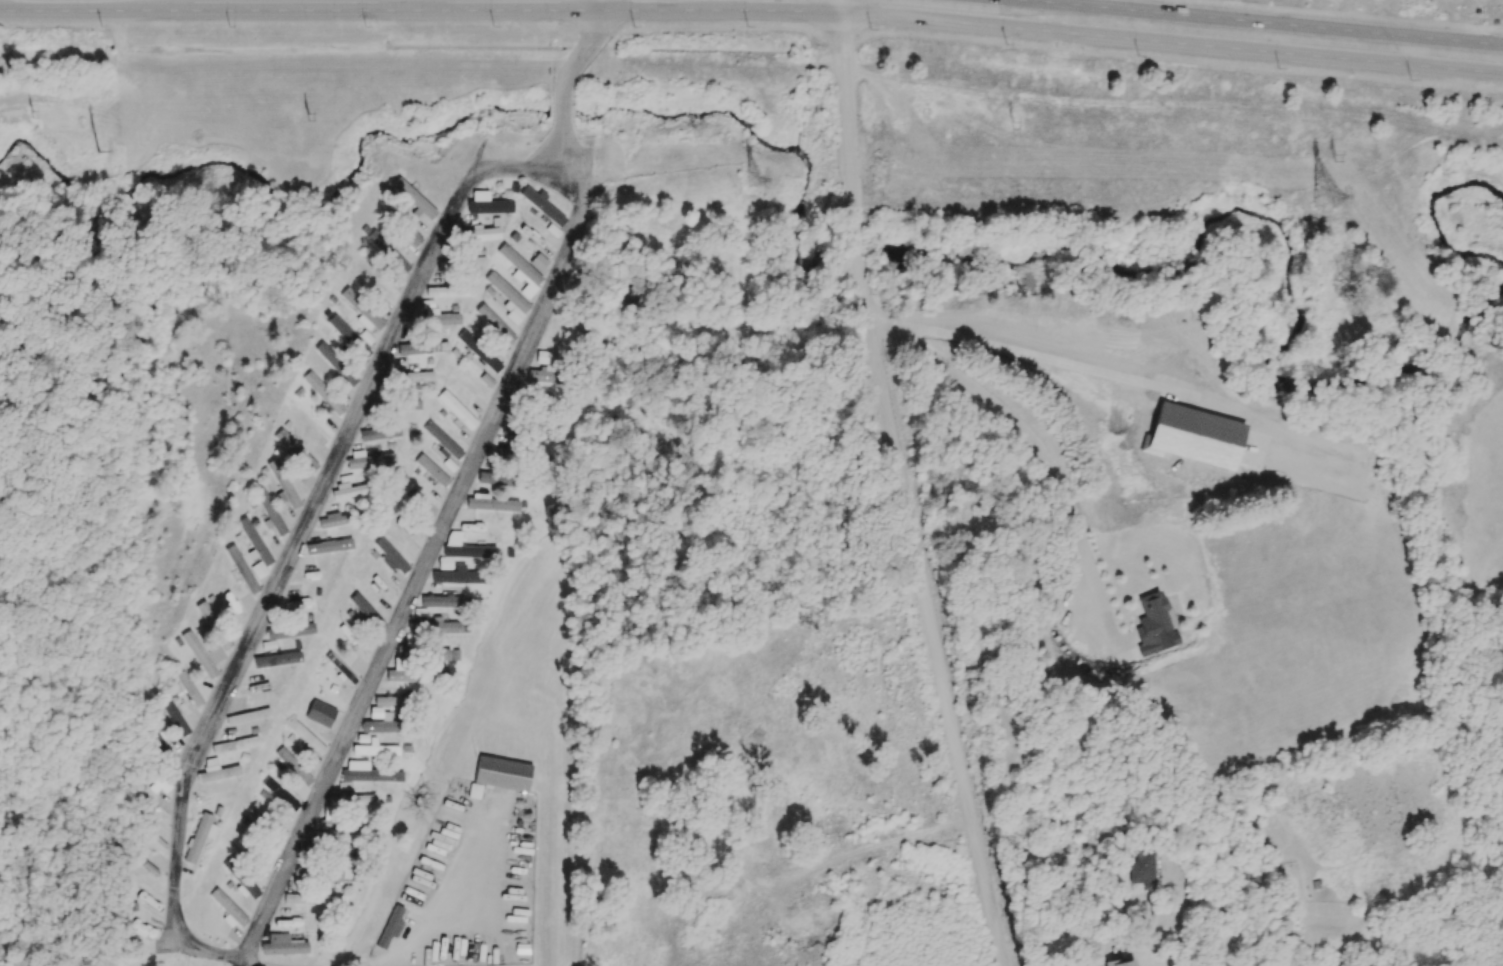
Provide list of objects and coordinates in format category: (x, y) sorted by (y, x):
road: (842, 7)
road: (752, 9)
road: (1258, 22)
road: (563, 91)
power tower: (32, 116)
power tower: (301, 118)
power tower: (1018, 122)
power tower: (697, 134)
power tower: (88, 152)
power tower: (1343, 154)
power tower: (755, 179)
building: (414, 198)
power tower: (1330, 198)
building: (487, 204)
building: (541, 204)
building: (480, 233)
building: (387, 251)
building: (475, 261)
building: (519, 266)
building: (449, 291)
building: (509, 298)
building: (361, 311)
building: (435, 318)
building: (495, 325)
building: (348, 336)
building: (435, 346)
building: (408, 348)
road: (1036, 350)
building: (478, 351)
building: (336, 364)
building: (546, 366)
building: (412, 376)
building: (414, 390)
building: (323, 393)
building: (403, 405)
building: (456, 409)
park: (1442, 421)
building: (379, 433)
building: (442, 441)
building: (295, 450)
road: (1036, 452)
building: (370, 460)
building: (449, 465)
building: (431, 470)
building: (493, 483)
building: (282, 484)
building: (347, 488)
road: (903, 492)
building: (492, 504)
building: (269, 512)
building: (333, 520)
building: (328, 546)
building: (465, 547)
building: (390, 556)
road: (788, 568)
building: (241, 569)
building: (258, 569)
building: (459, 575)
building: (297, 603)
building: (364, 609)
building: (205, 613)
building: (1152, 618)
building: (432, 627)
building: (289, 630)
building: (225, 643)
building: (215, 654)
building: (198, 655)
building: (276, 659)
building: (407, 673)
building: (190, 688)
building: (388, 701)
building: (320, 713)
building: (247, 716)
building: (175, 717)
building: (380, 725)
building: (306, 736)
building: (234, 744)
building: (375, 749)
building: (216, 771)
building: (295, 772)
building: (367, 772)
building: (502, 773)
building: (474, 791)
building: (281, 794)
building: (349, 796)
building: (257, 810)
building: (277, 831)
building: (198, 837)
building: (158, 843)
building: (1136, 868)
building: (331, 875)
building: (309, 899)
building: (227, 909)
road: (432, 913)
road: (1086, 923)
building: (390, 927)
road: (184, 933)
building: (282, 945)
road: (259, 963)
building: (1118, 963)

